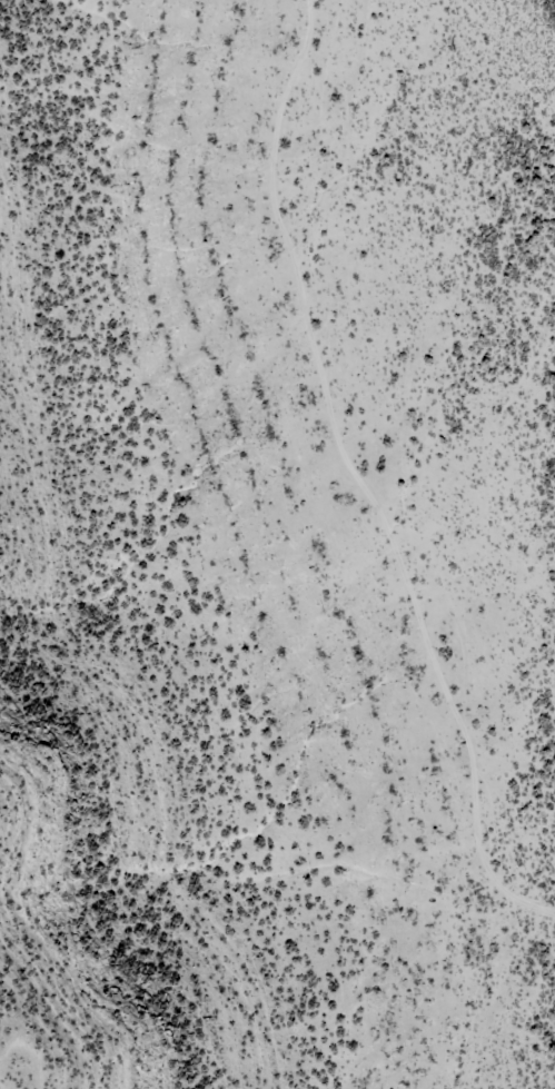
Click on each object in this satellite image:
road: (373, 479)

